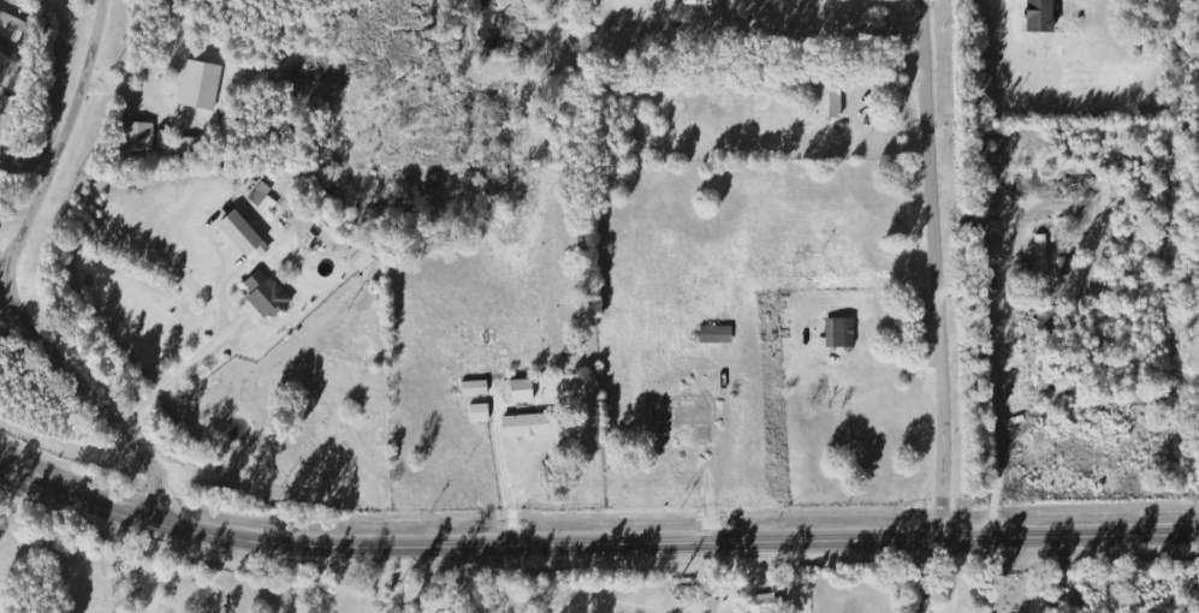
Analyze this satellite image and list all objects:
building: (679, 5)
road: (863, 12)
building: (1032, 16)
building: (8, 26)
building: (825, 95)
road: (61, 143)
building: (1037, 252)
road: (949, 269)
road: (1, 278)
building: (249, 292)
building: (837, 332)
building: (712, 333)
building: (503, 362)
road: (185, 363)
road: (898, 370)
building: (1040, 373)
road: (101, 393)
road: (991, 421)
road: (594, 544)
road: (154, 567)
road: (949, 577)
road: (376, 581)
building: (755, 599)

